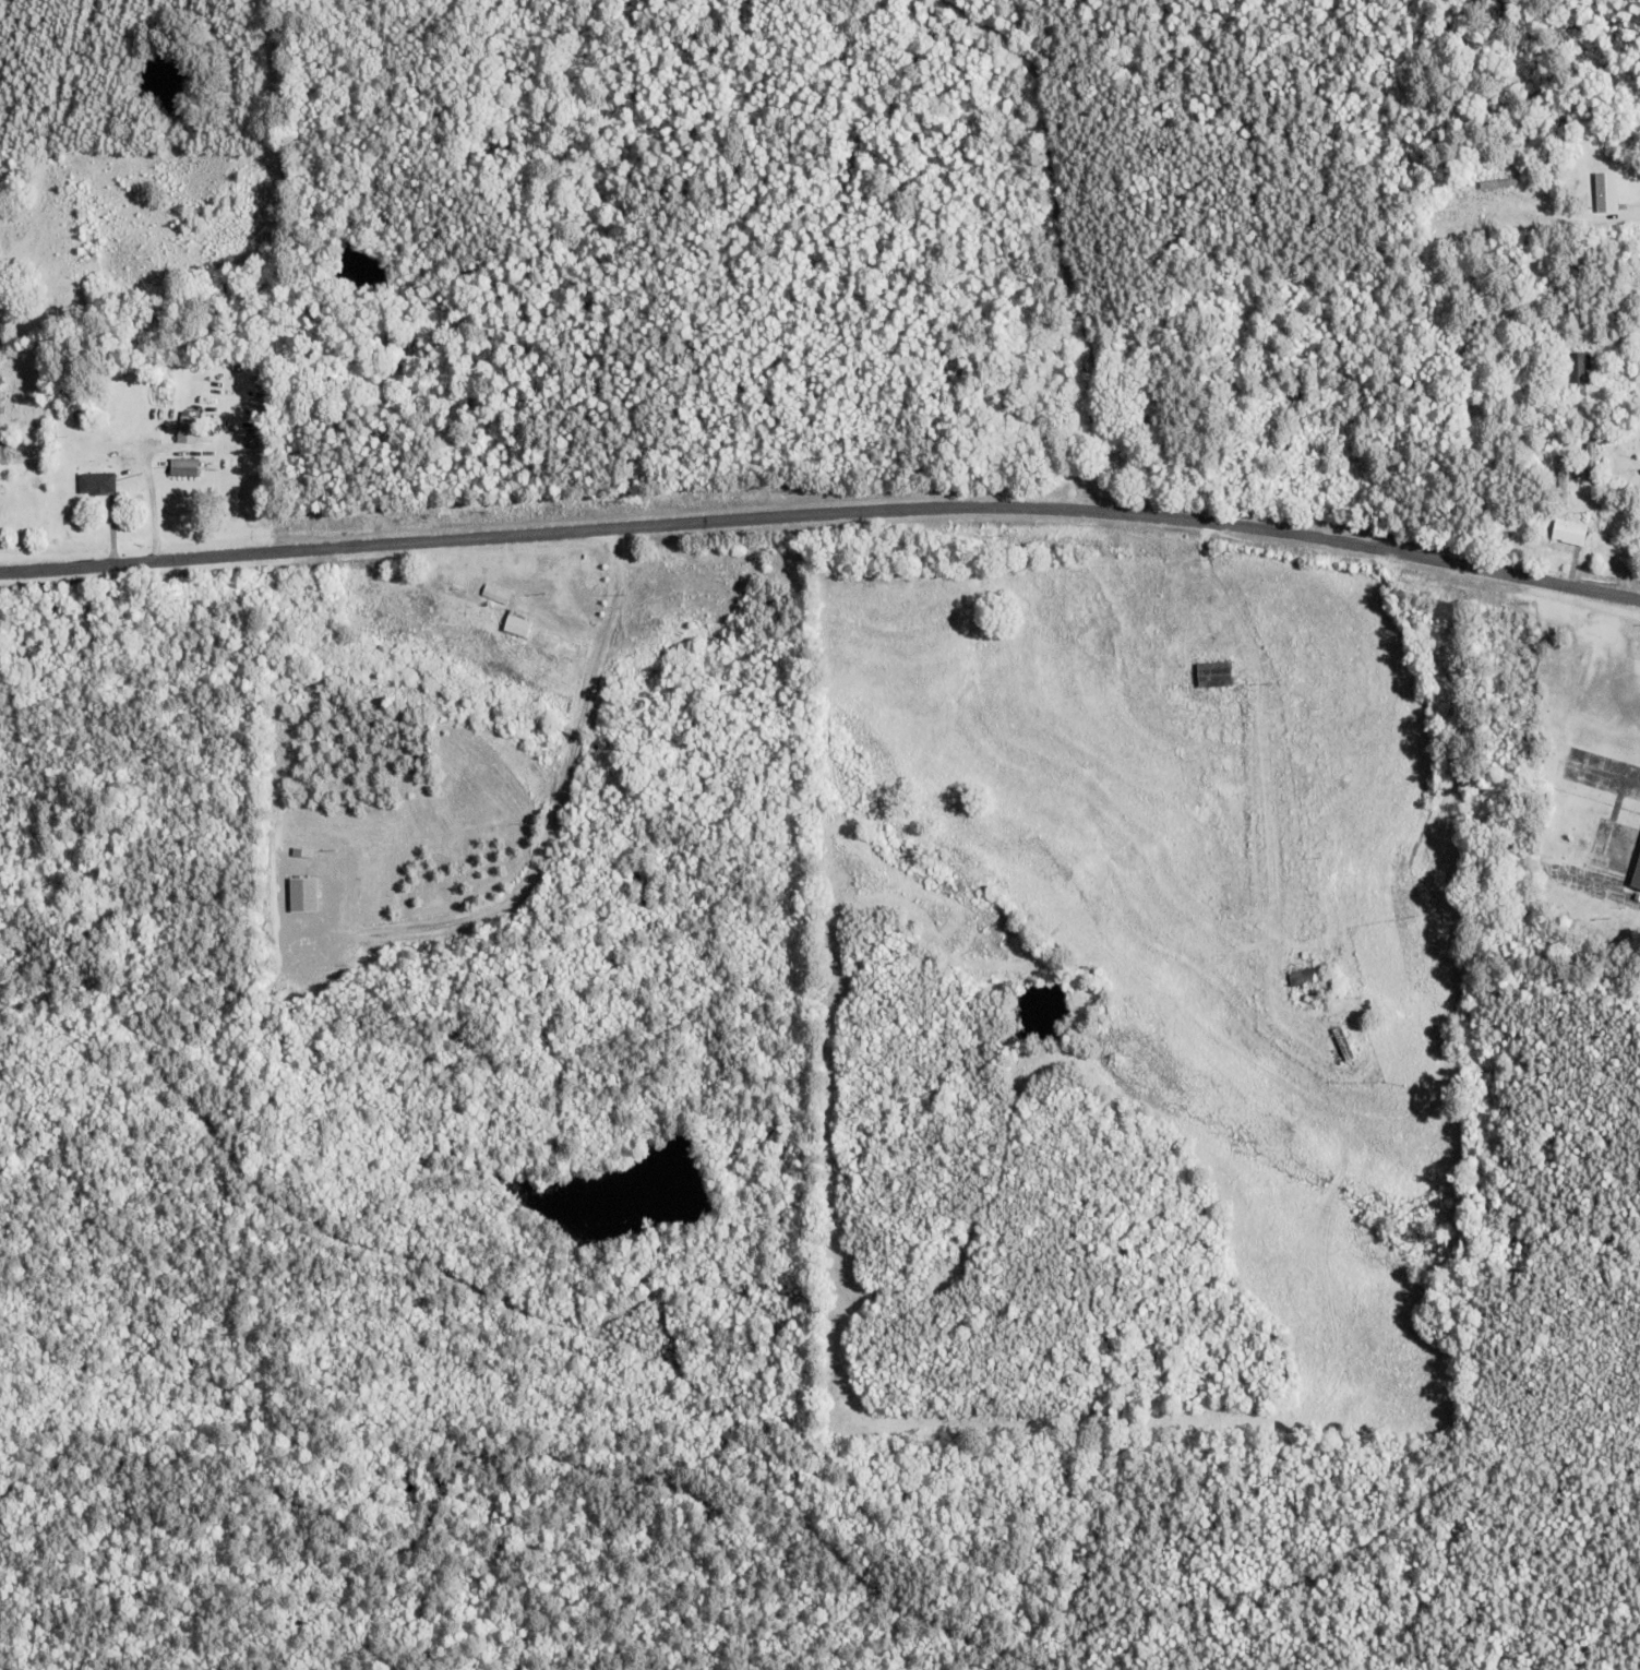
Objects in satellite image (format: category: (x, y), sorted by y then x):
building: (1604, 191)
building: (1464, 225)
road: (1062, 241)
building: (1576, 366)
building: (185, 426)
building: (181, 466)
building: (95, 482)
road: (823, 511)
building: (1566, 530)
building: (515, 624)
building: (555, 642)
building: (1211, 675)
building: (1638, 875)
building: (1301, 976)

